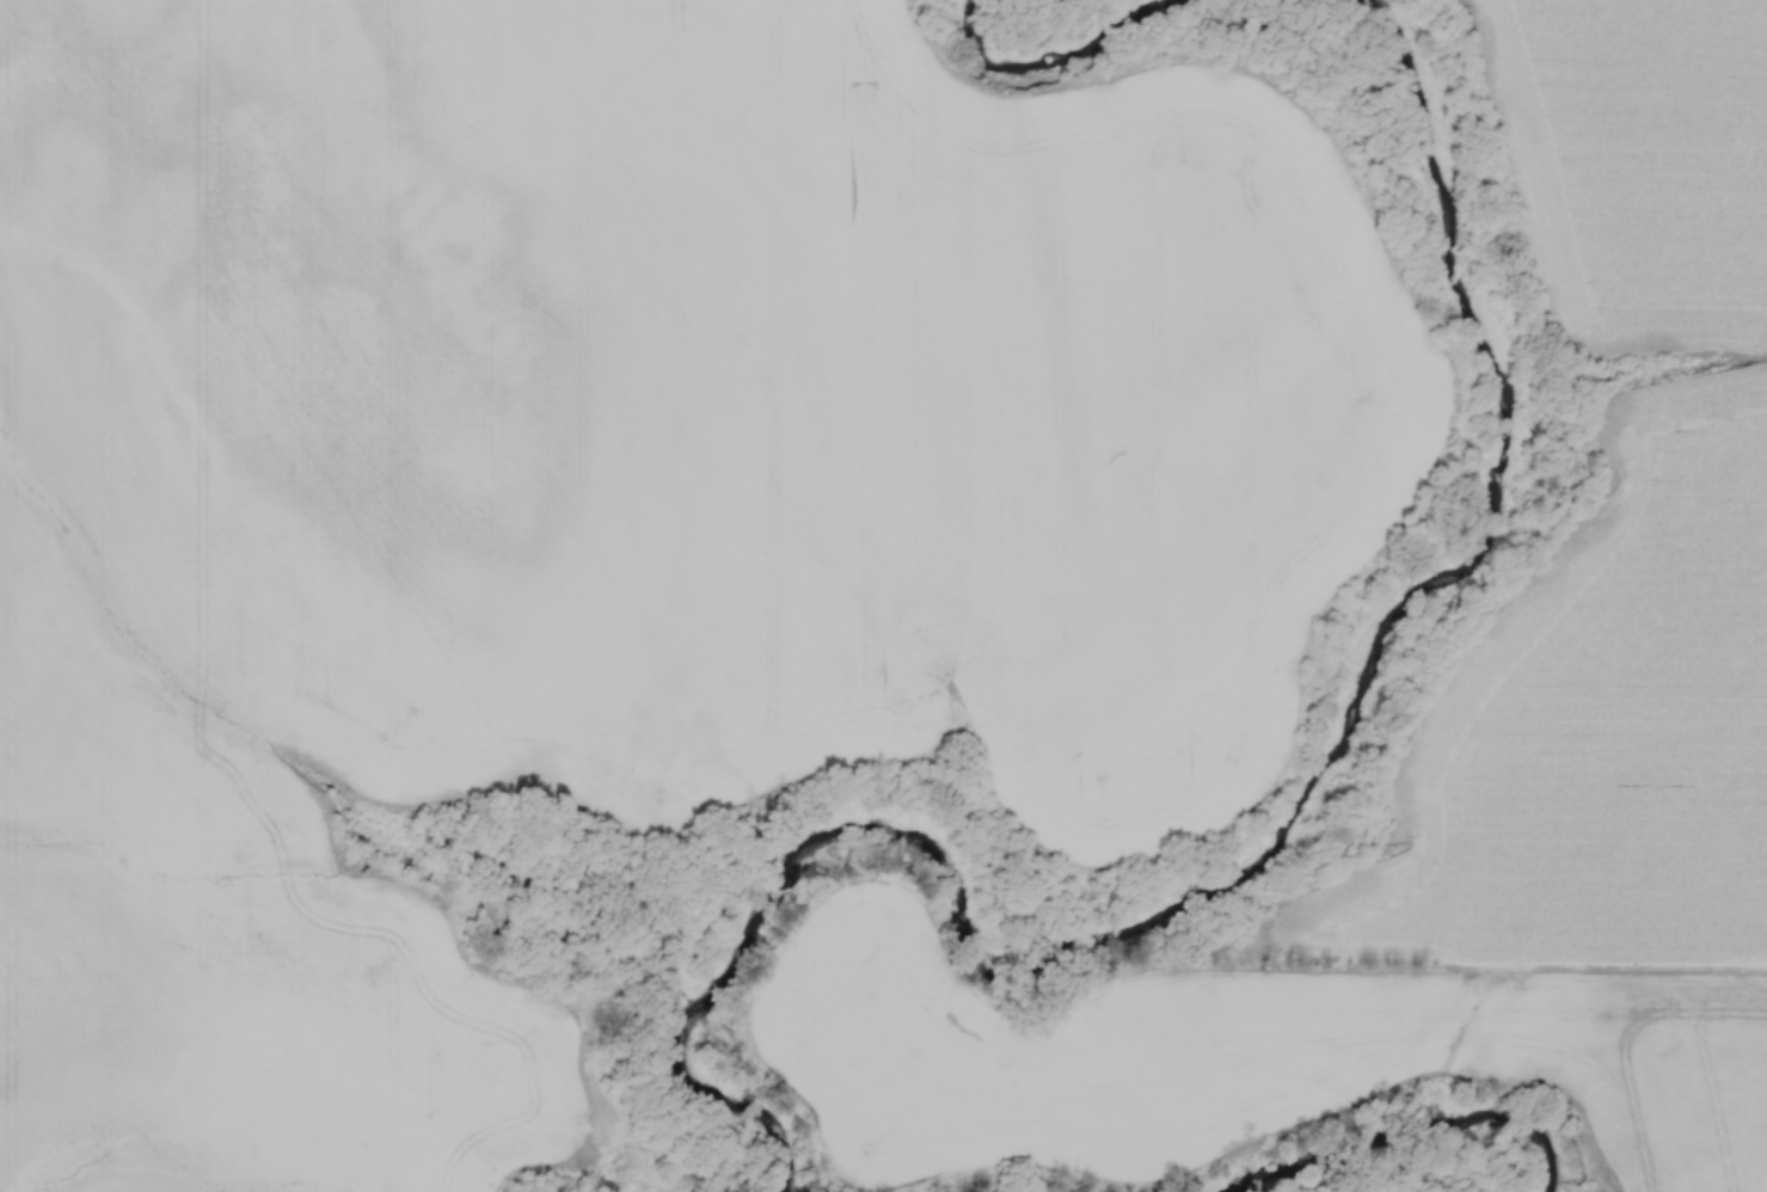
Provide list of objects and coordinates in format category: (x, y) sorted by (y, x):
river: (1035, 63)
river: (1271, 848)
river: (1411, 1130)

